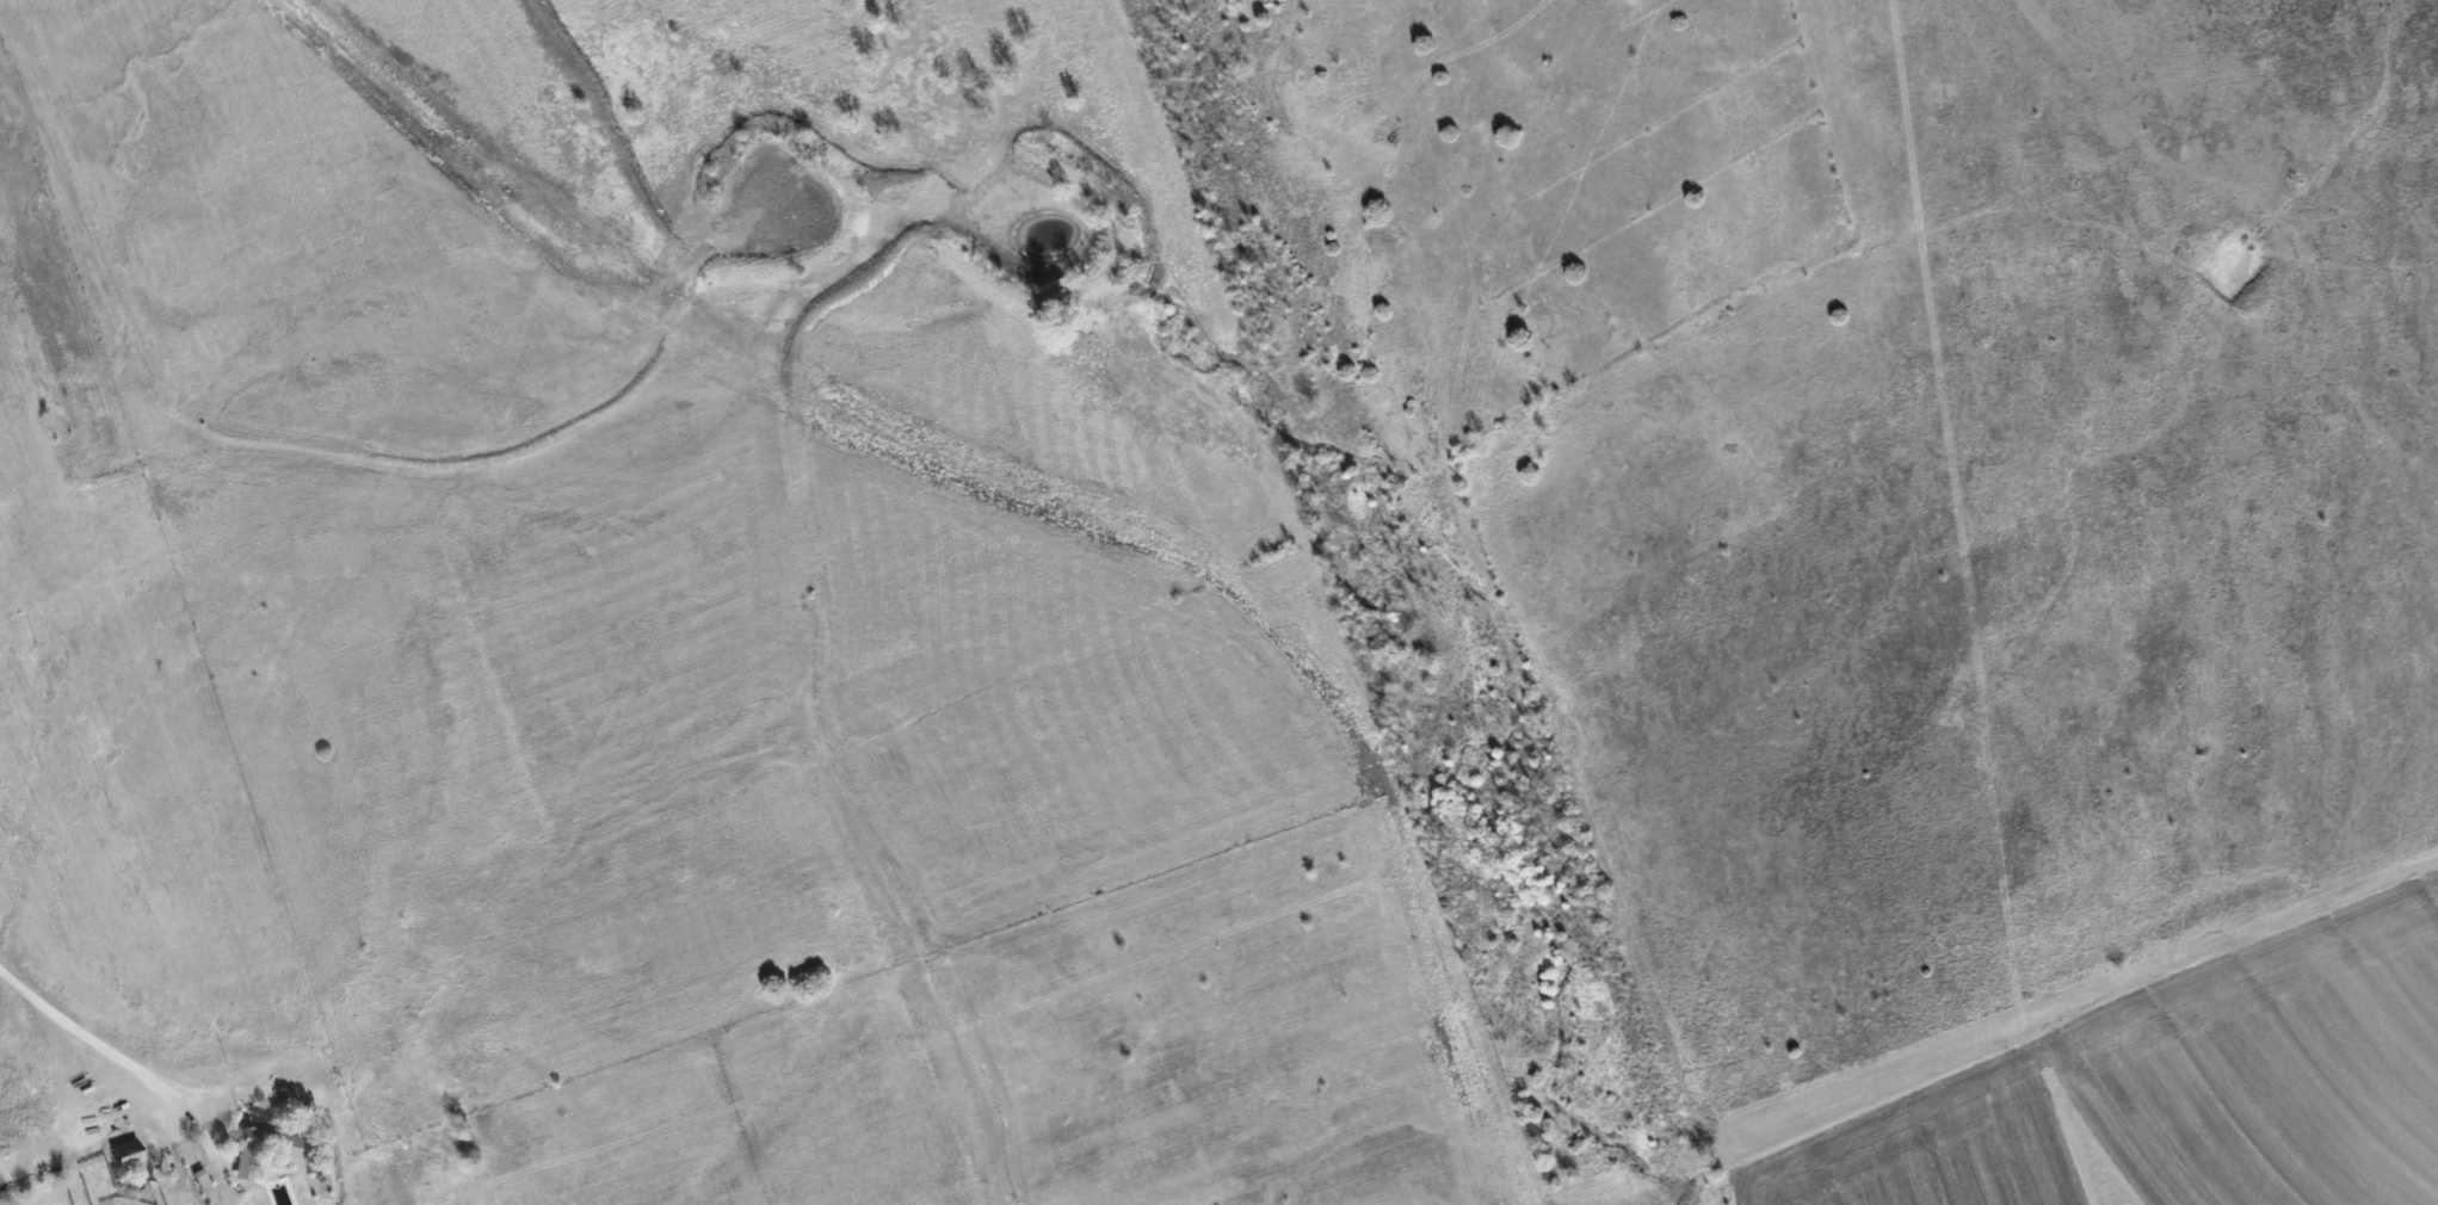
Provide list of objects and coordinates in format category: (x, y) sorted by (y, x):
road: (105, 1037)
building: (123, 1154)

